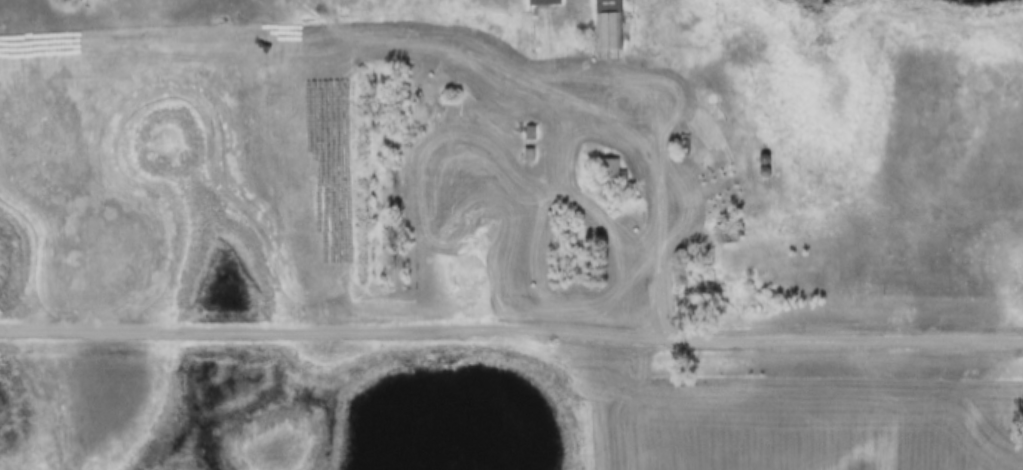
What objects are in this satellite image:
building: (538, 2)
building: (603, 25)
building: (606, 171)
road: (666, 198)
building: (726, 234)
road: (336, 329)
road: (847, 339)

